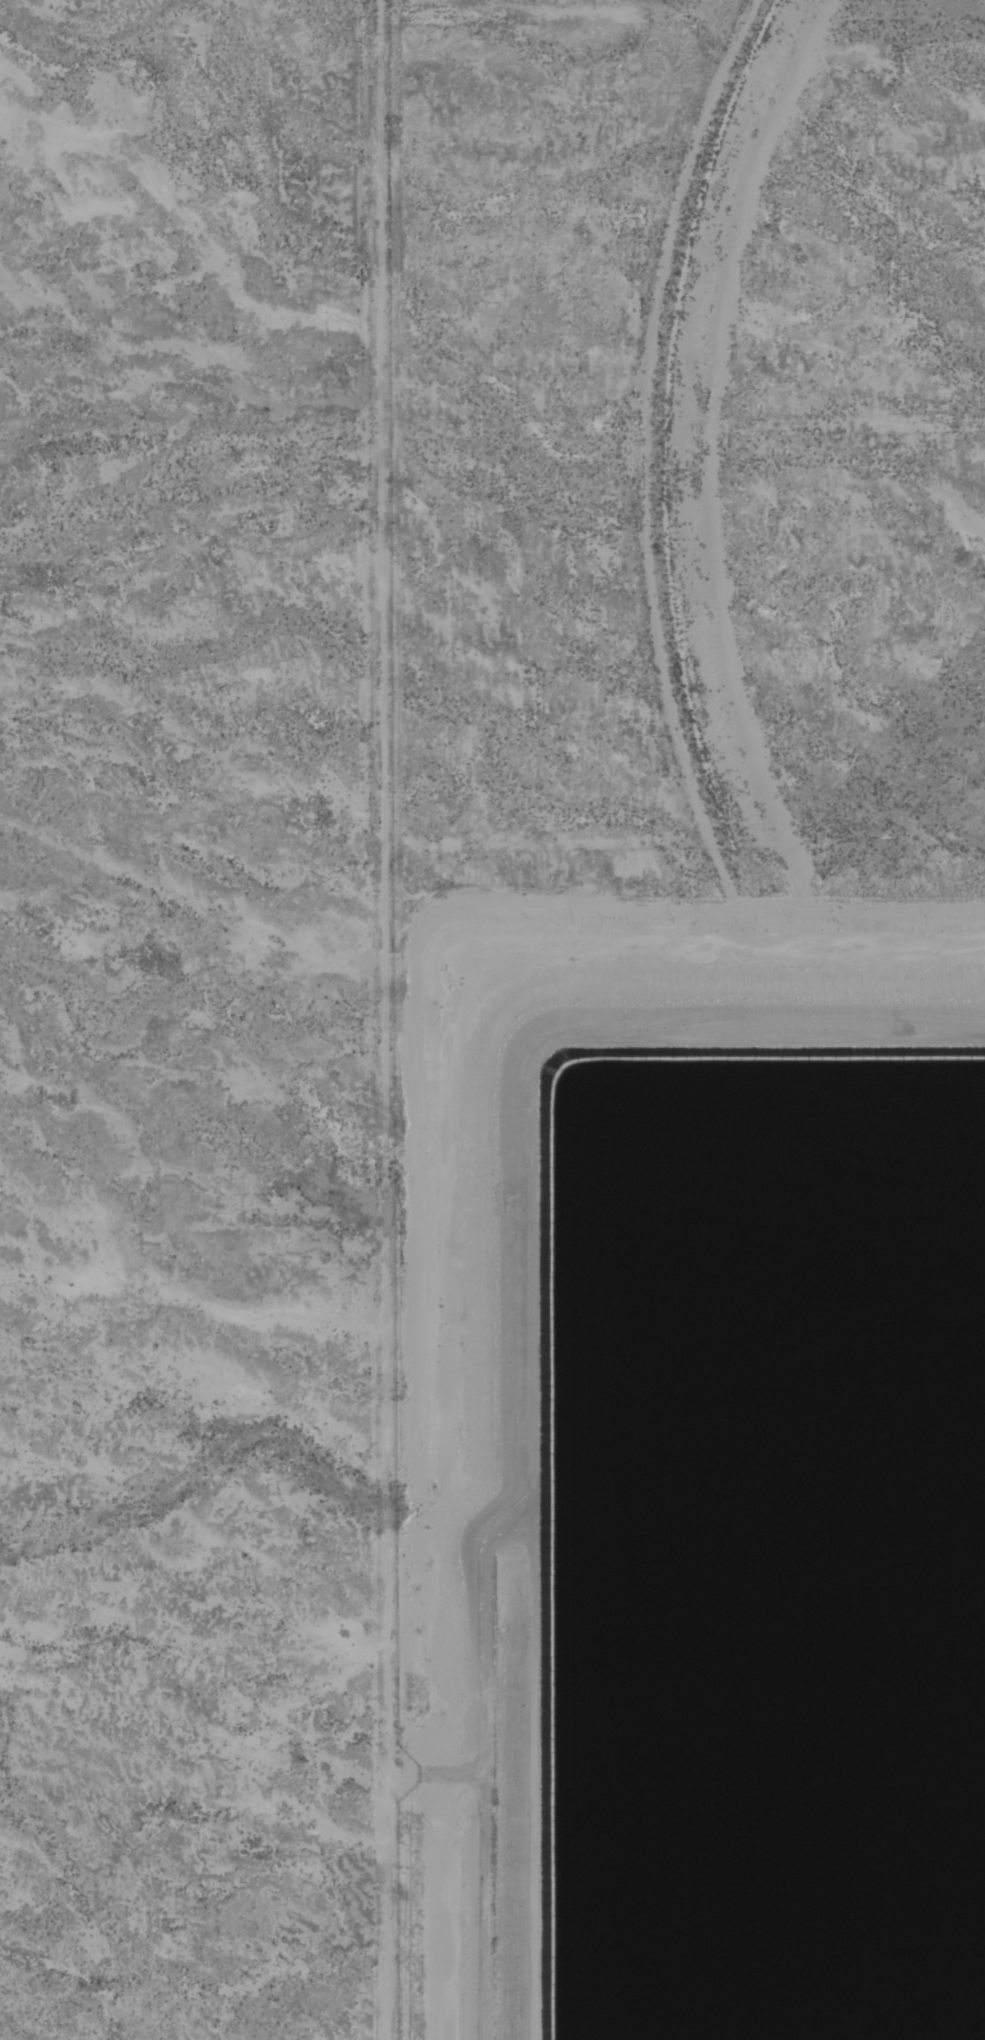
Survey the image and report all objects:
wastewater plant: (691, 1468)

